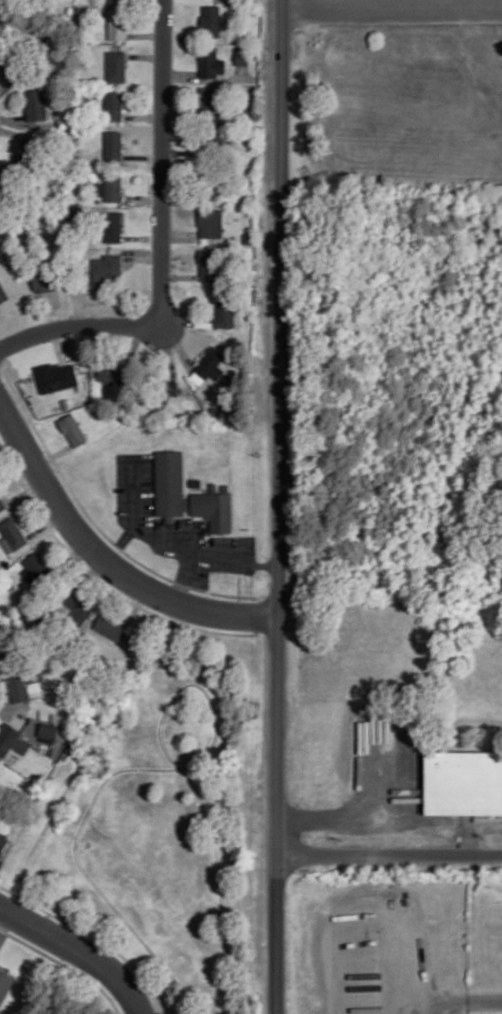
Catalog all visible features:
road: (392, 7)
building: (211, 20)
building: (117, 23)
building: (241, 55)
building: (211, 62)
building: (7, 65)
building: (116, 66)
building: (209, 98)
building: (36, 104)
building: (114, 105)
building: (212, 142)
building: (114, 145)
building: (3, 181)
building: (111, 187)
building: (211, 222)
building: (113, 226)
road: (163, 241)
building: (209, 266)
building: (107, 269)
building: (44, 281)
building: (3, 294)
building: (225, 310)
building: (209, 365)
building: (113, 375)
building: (56, 376)
building: (169, 387)
building: (73, 429)
building: (197, 481)
building: (171, 487)
building: (2, 503)
road: (281, 507)
road: (135, 511)
building: (14, 538)
road: (186, 546)
road: (236, 553)
road: (105, 559)
building: (36, 568)
building: (77, 608)
building: (111, 627)
building: (2, 652)
building: (21, 684)
building: (54, 737)
building: (11, 739)
building: (463, 782)
road: (340, 815)
park: (160, 840)
building: (3, 841)
road: (389, 854)
street lamp: (299, 871)
road: (79, 951)
building: (5, 984)
road: (465, 1001)

